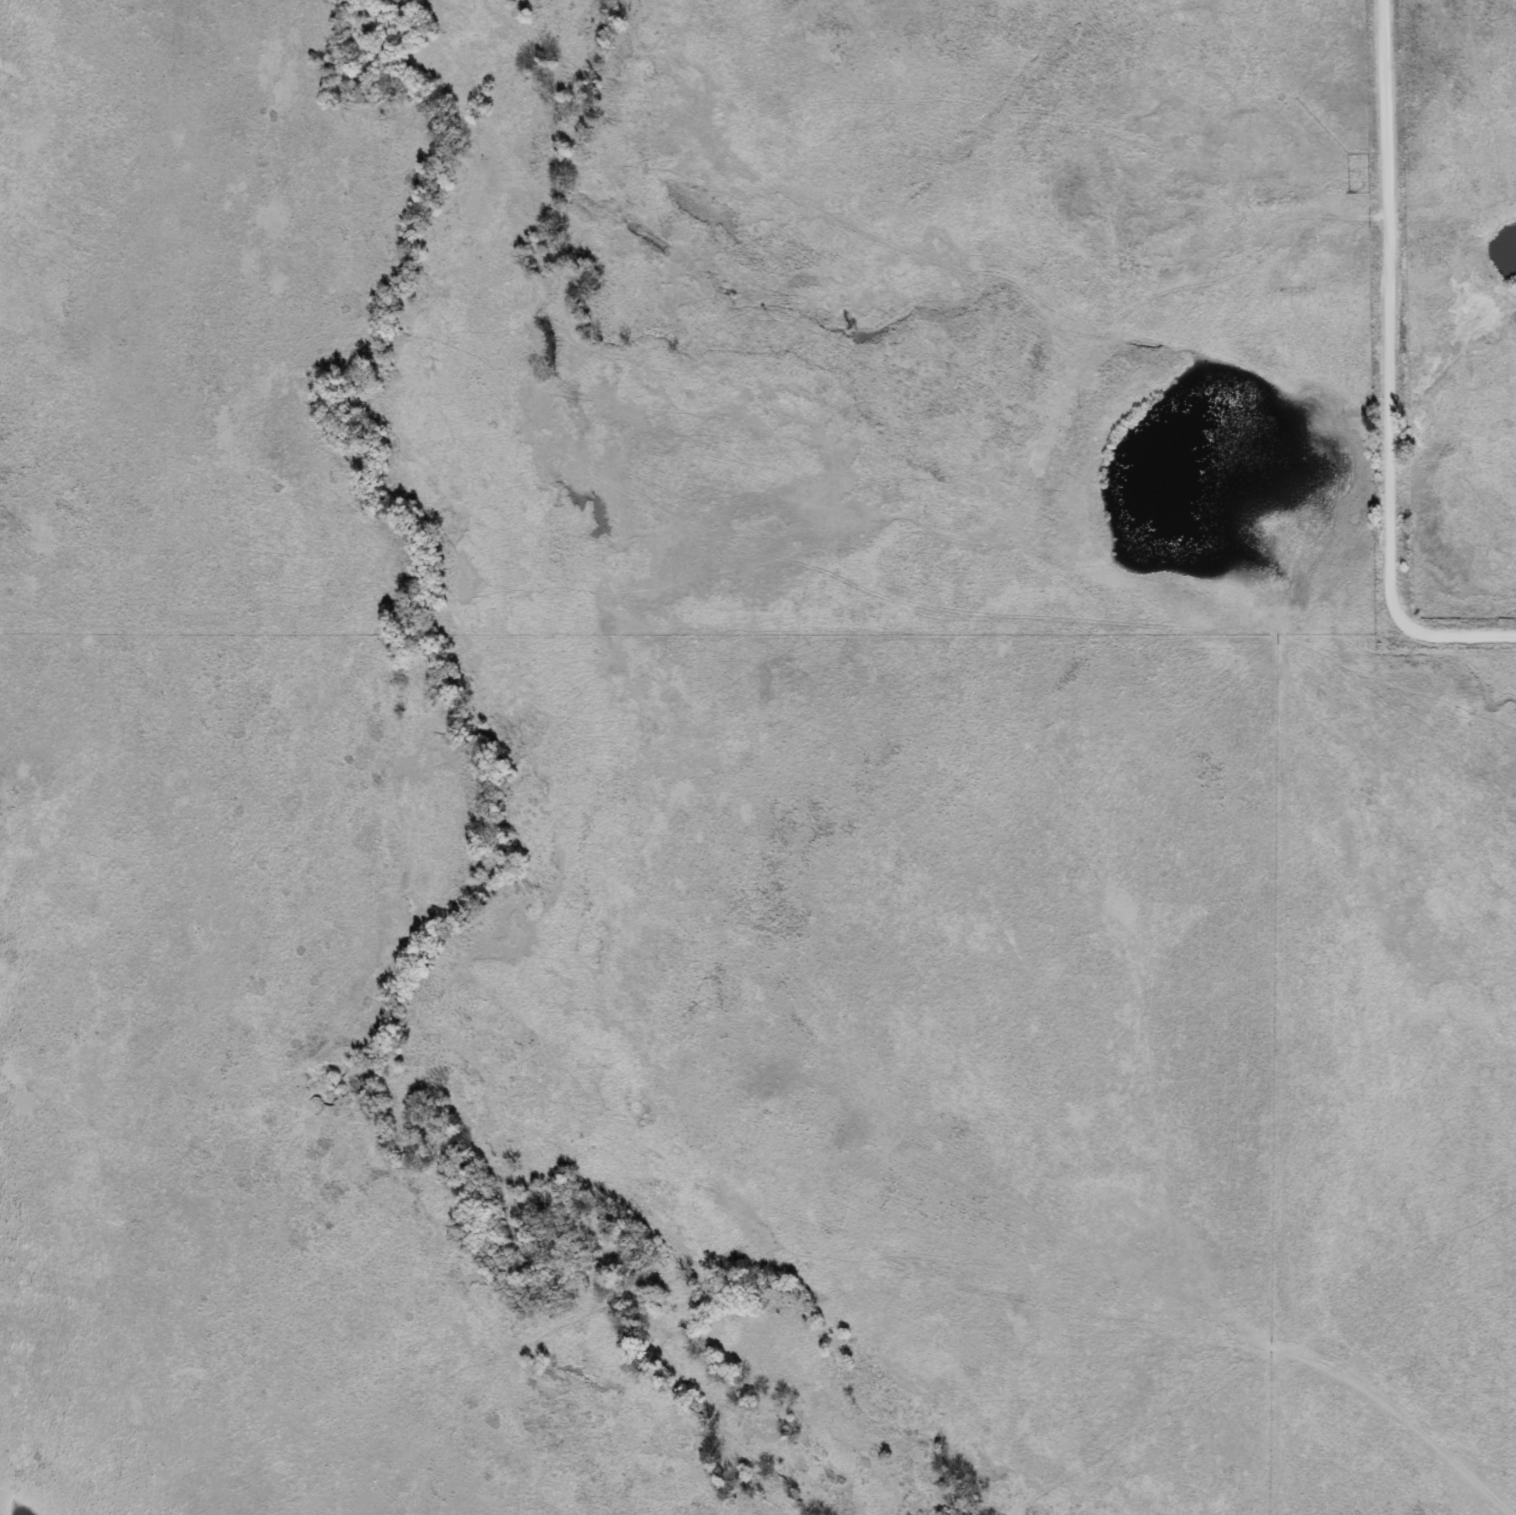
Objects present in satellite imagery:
road: (1323, 120)
road: (1395, 365)

